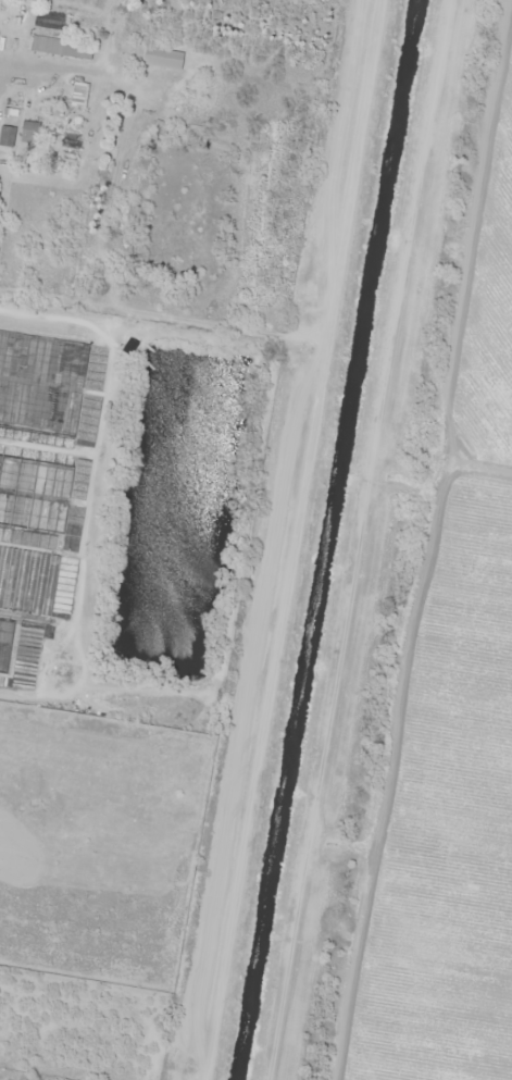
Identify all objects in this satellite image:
building: (49, 20)
building: (62, 48)
building: (162, 58)
building: (79, 96)
building: (29, 133)
building: (7, 136)
building: (39, 392)
building: (34, 494)
building: (27, 579)
building: (4, 643)

